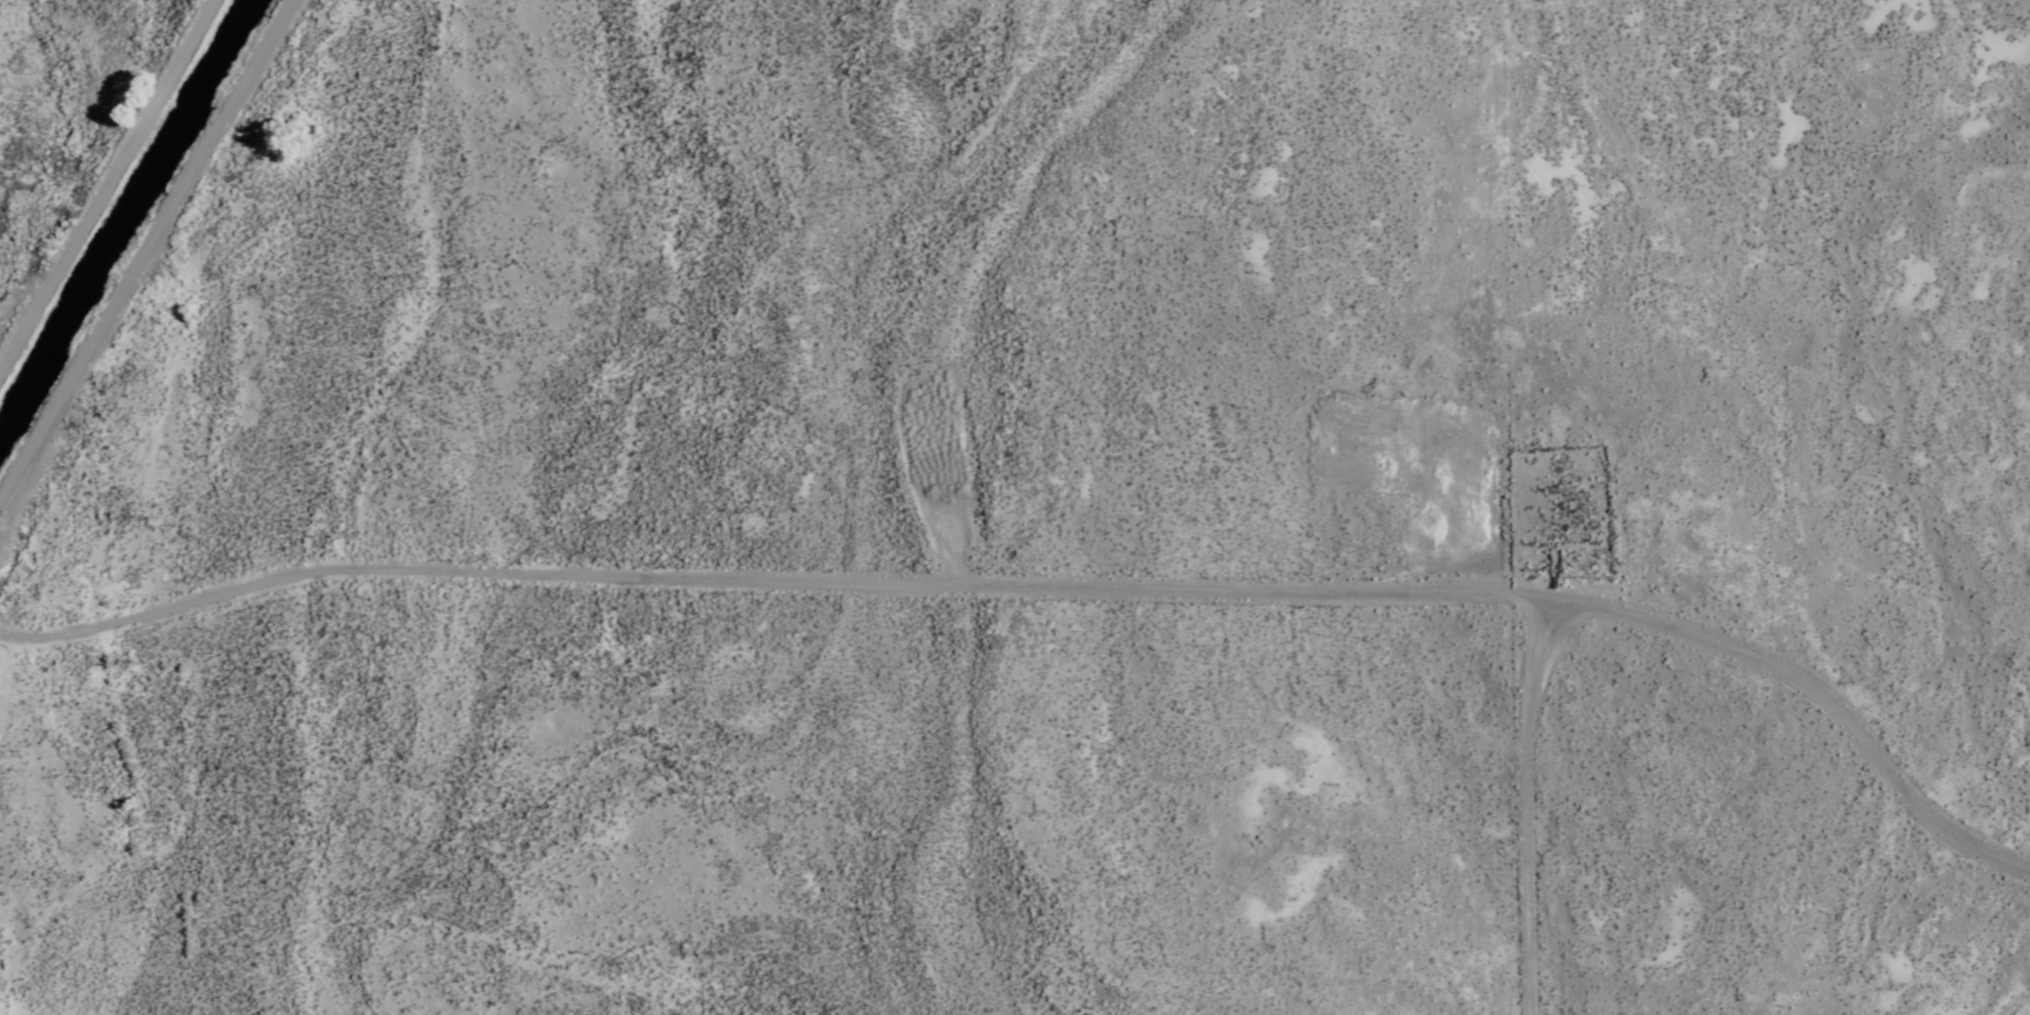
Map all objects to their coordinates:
road: (110, 189)
road: (148, 257)
road: (1055, 593)
road: (1530, 807)

